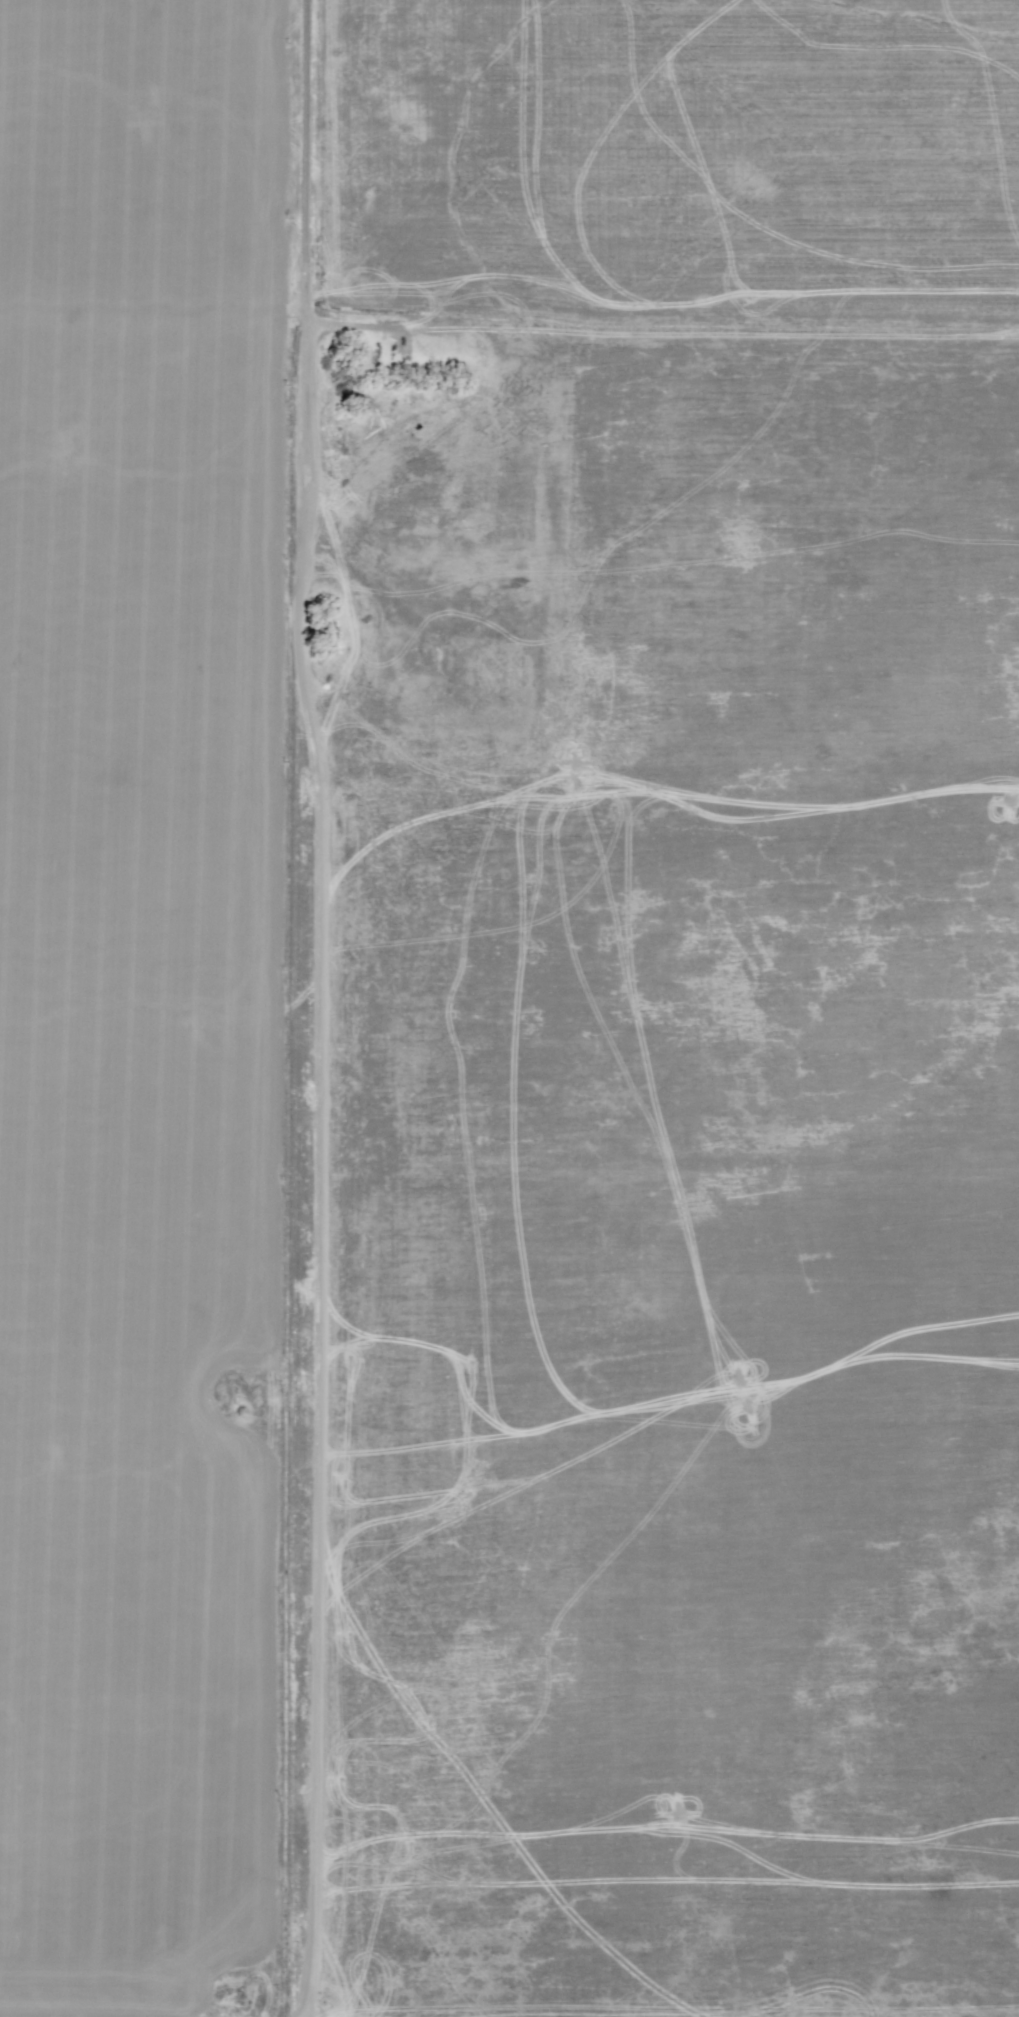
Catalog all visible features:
road: (509, 270)
road: (356, 1008)

